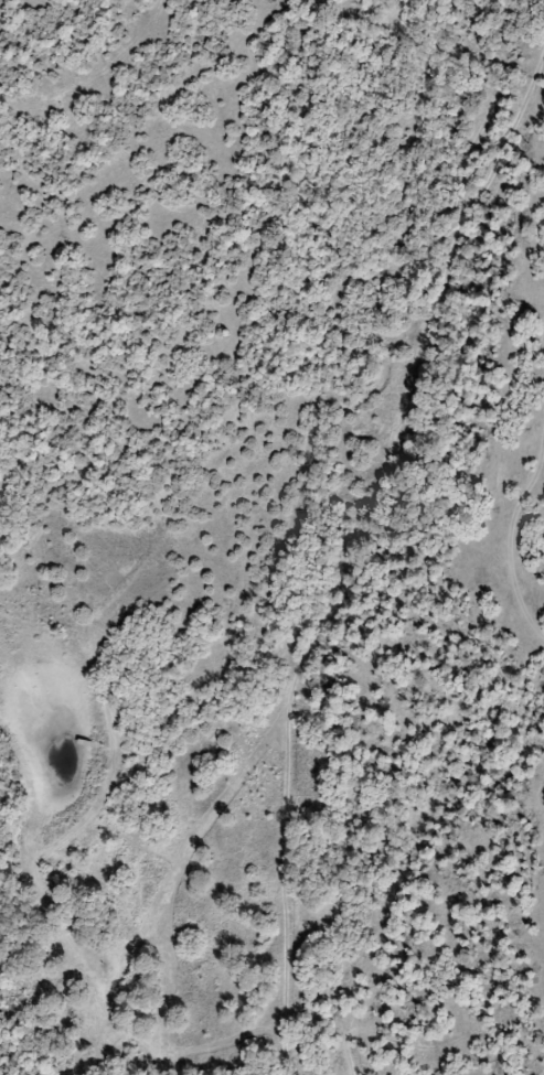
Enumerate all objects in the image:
road: (140, 531)
road: (346, 549)

